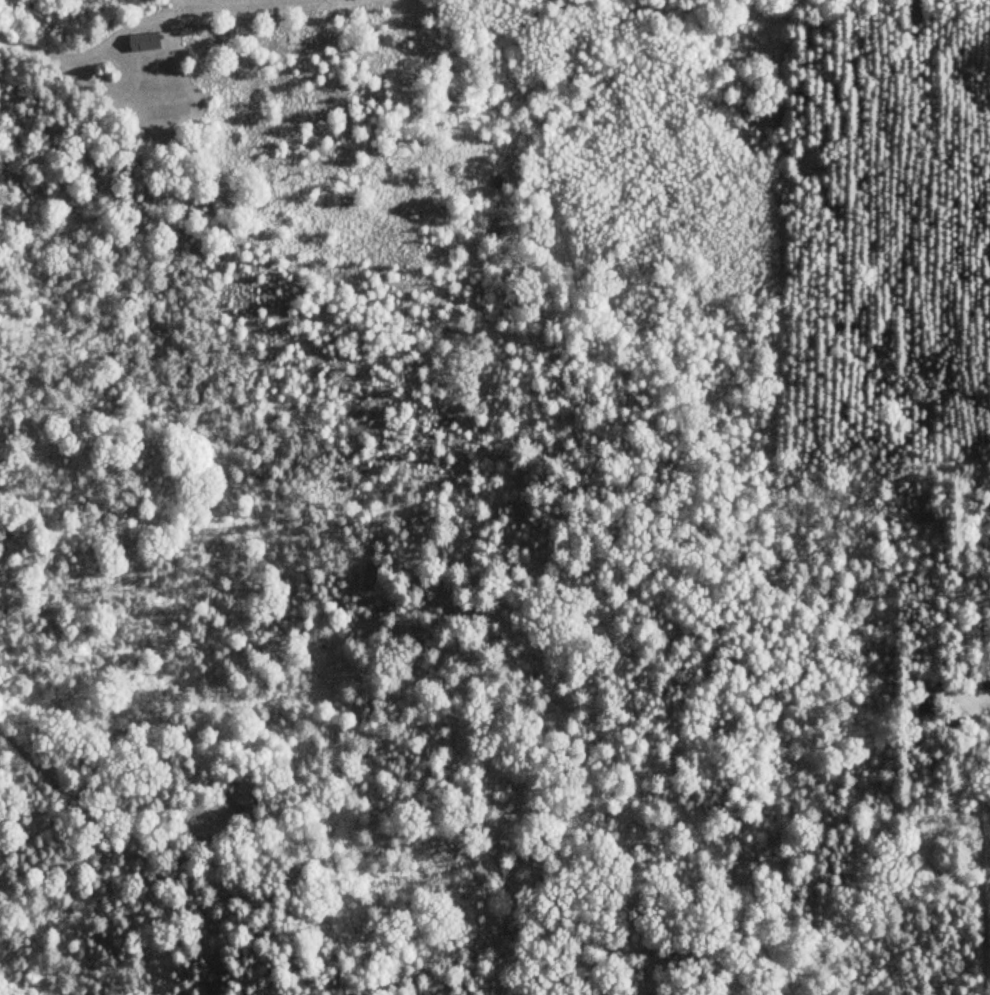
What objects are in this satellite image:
building: (140, 41)
building: (926, 702)
building: (240, 795)

